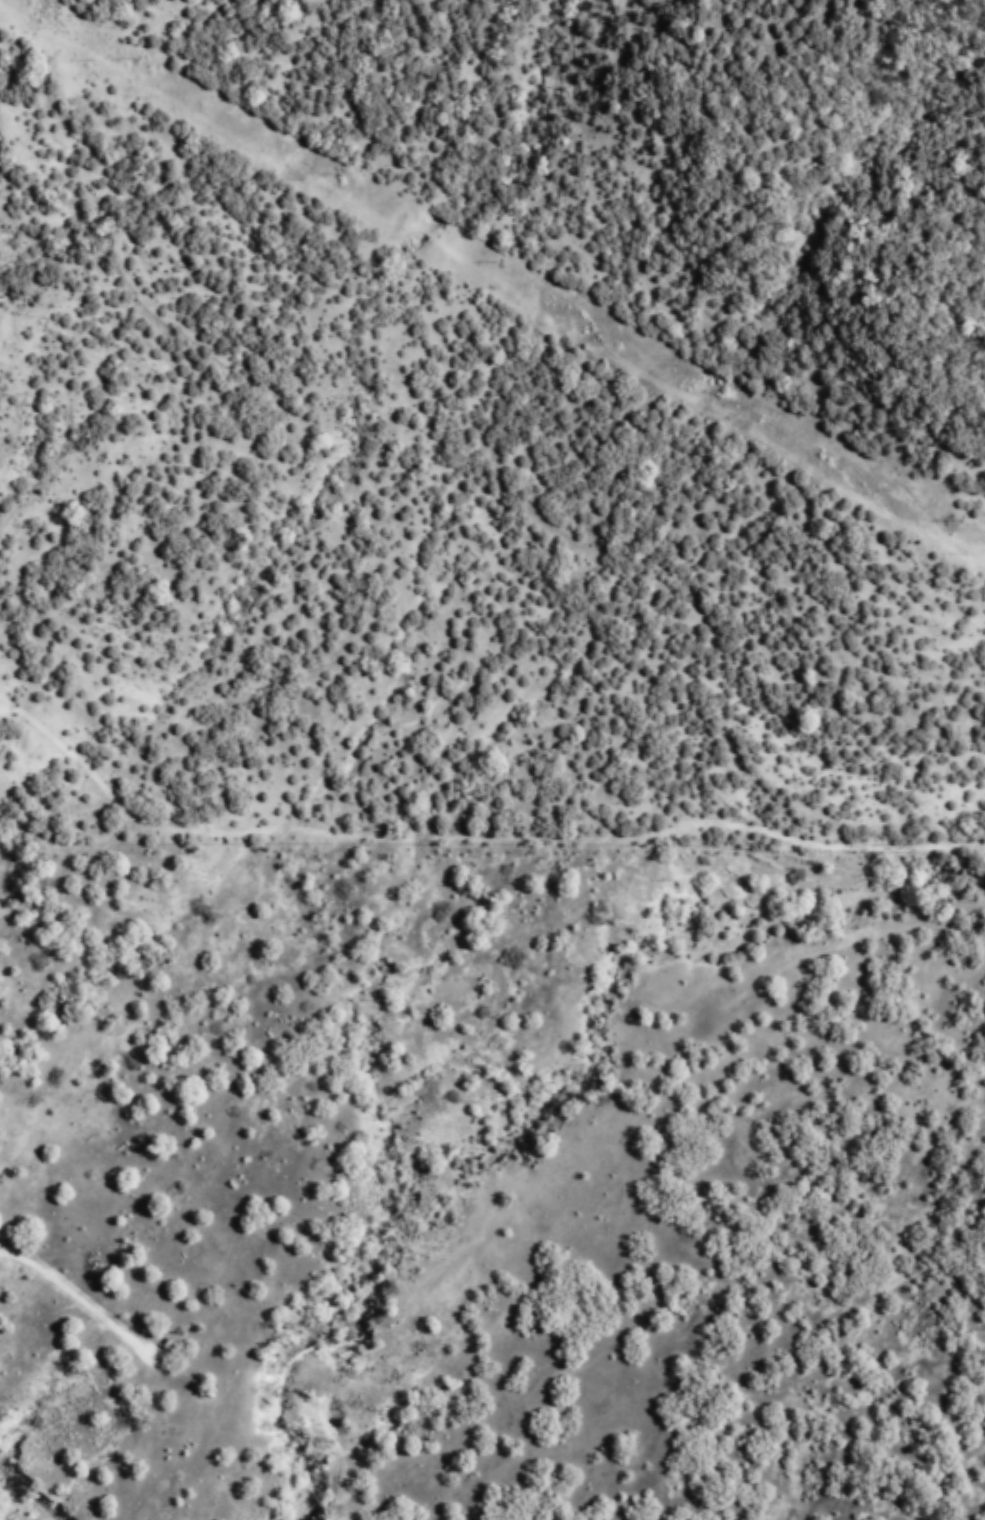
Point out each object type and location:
river: (22, 1503)

